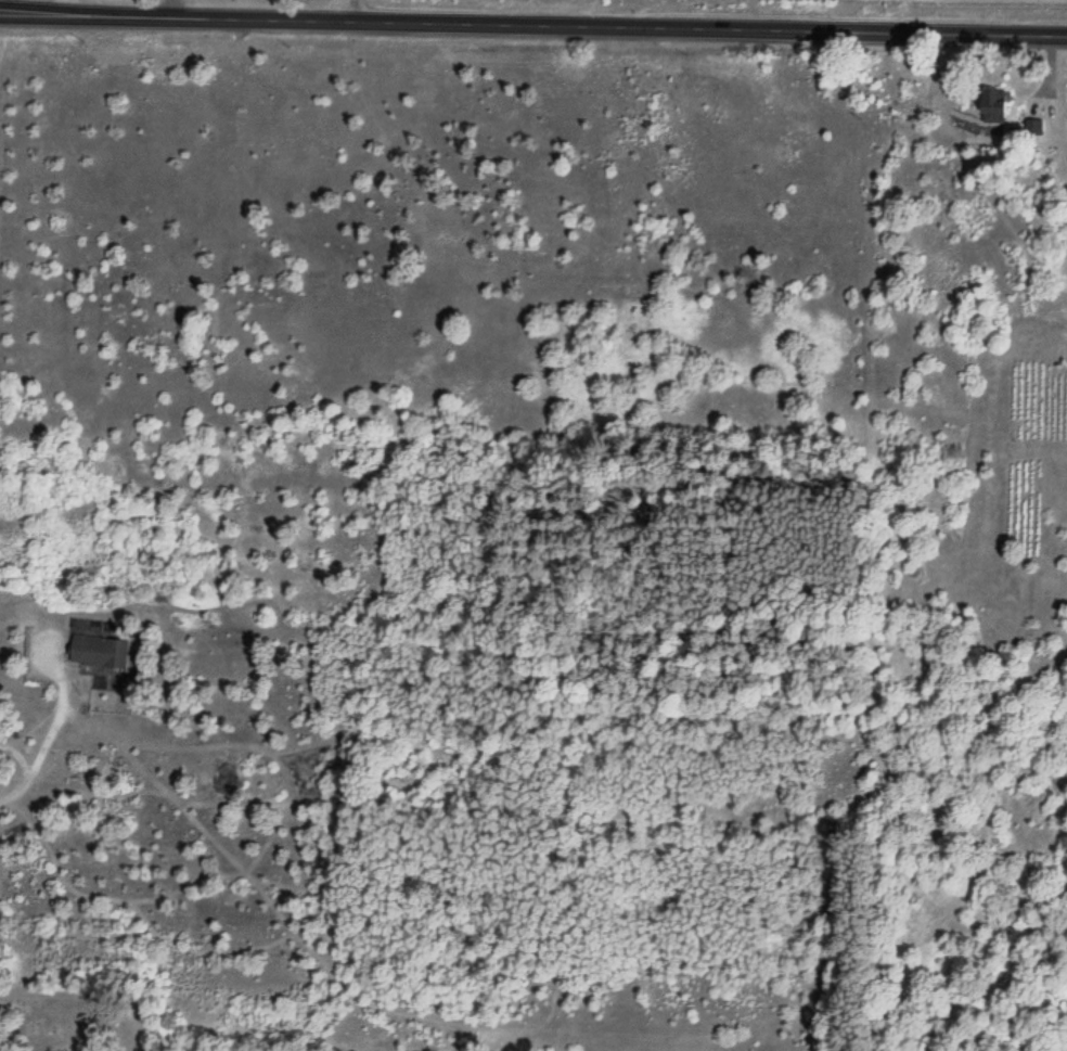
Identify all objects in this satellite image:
road: (170, 9)
road: (345, 12)
road: (532, 27)
building: (993, 105)
building: (100, 652)
road: (46, 734)
park: (79, 1012)

